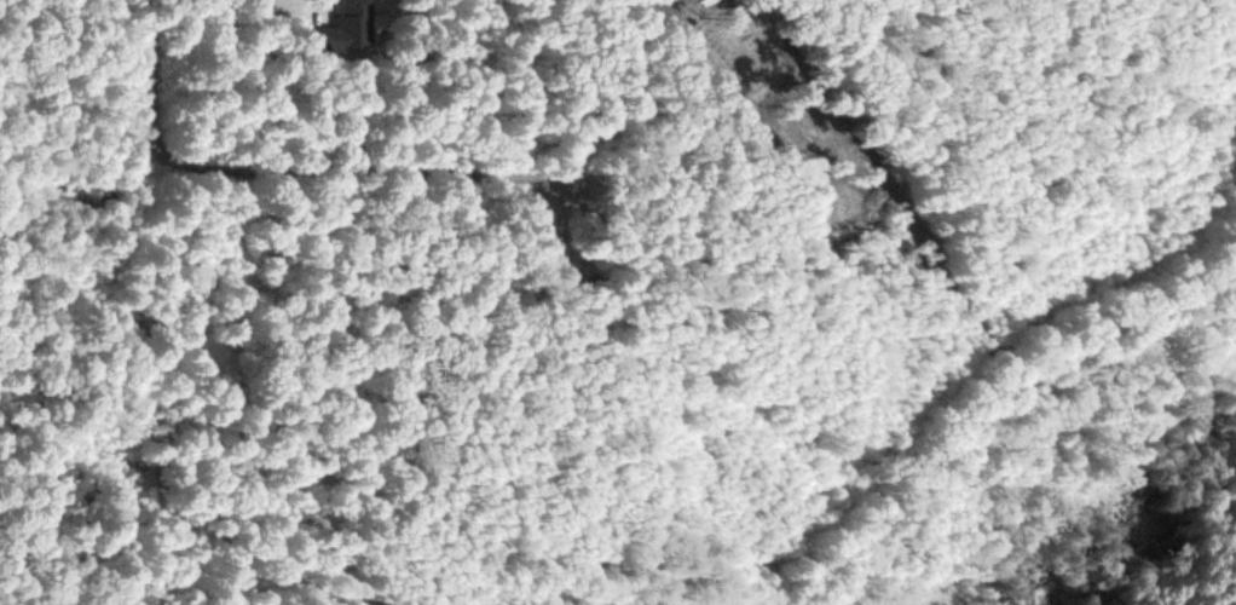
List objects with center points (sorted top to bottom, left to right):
road: (325, 8)
building: (347, 29)
road: (1178, 40)
building: (743, 53)
road: (285, 171)

